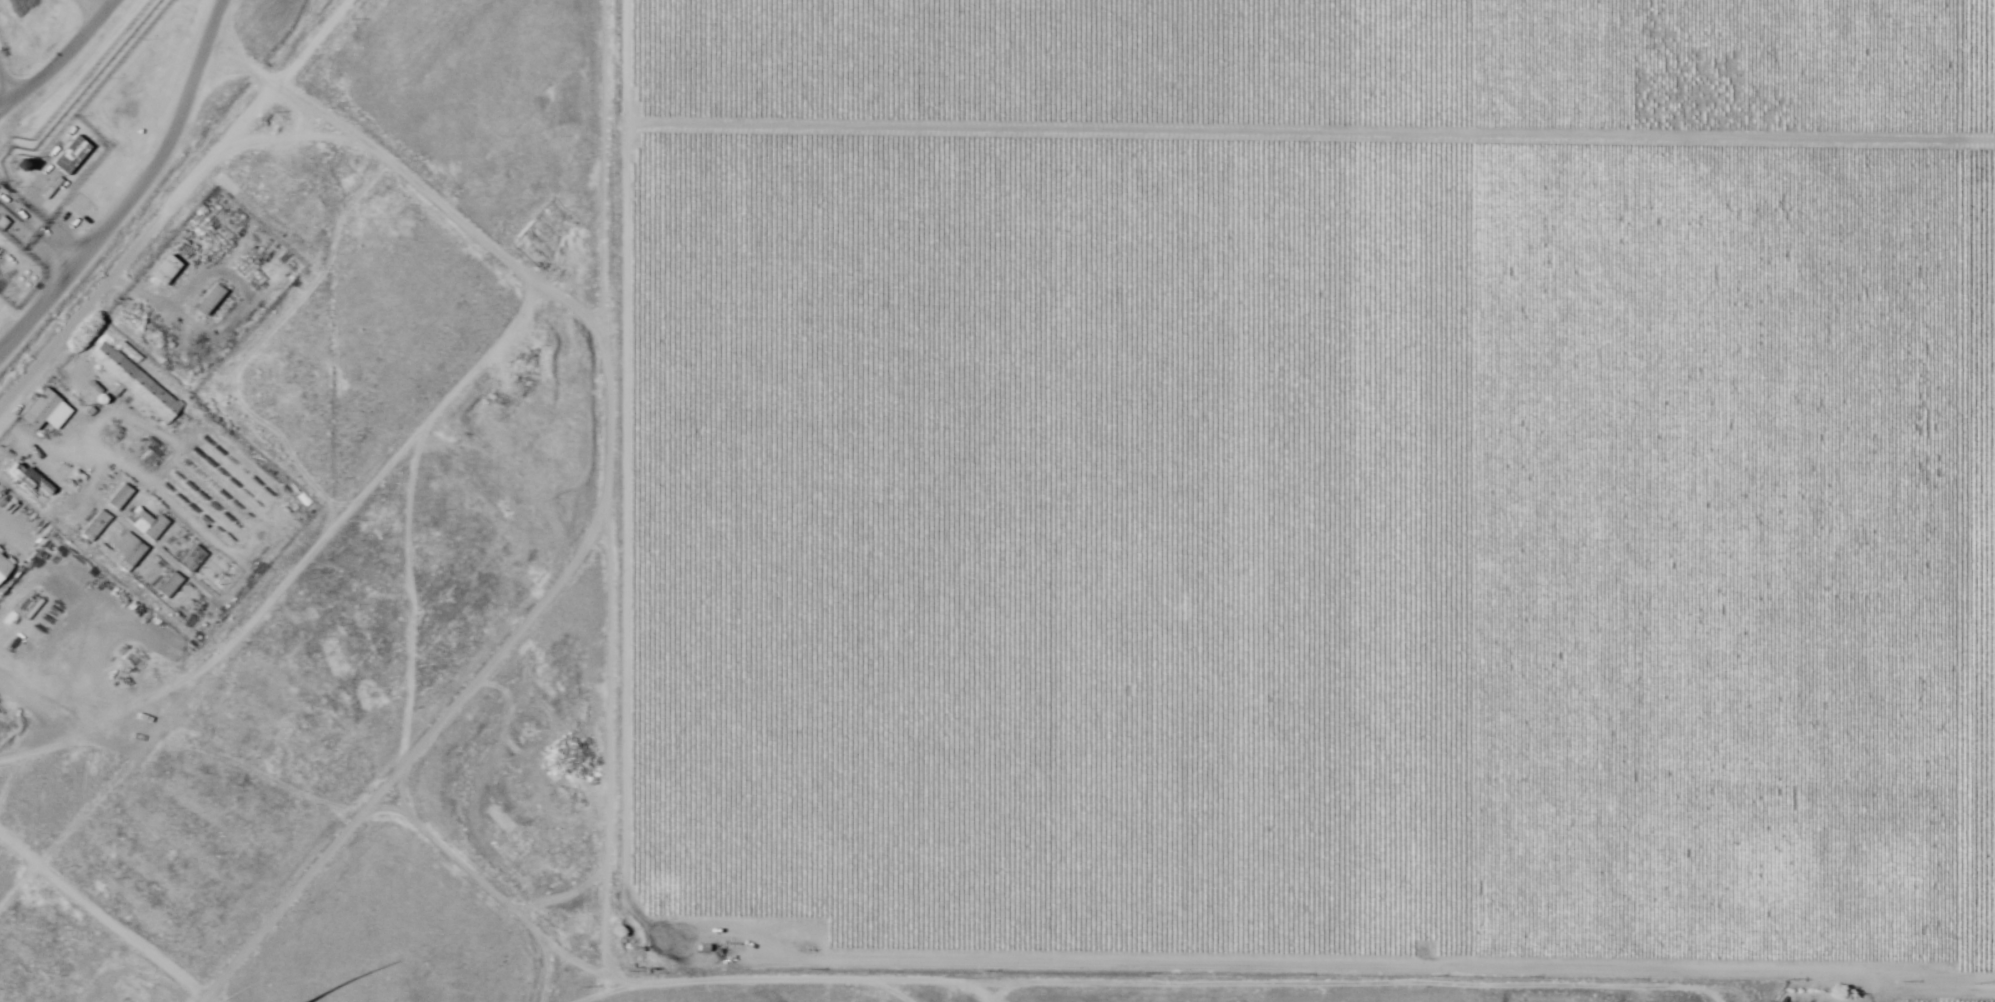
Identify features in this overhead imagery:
road: (1312, 130)
building: (69, 155)
building: (15, 166)
road: (135, 190)
building: (164, 271)
building: (215, 303)
building: (134, 382)
building: (44, 411)
building: (27, 478)
road: (605, 483)
crop: (1311, 487)
building: (146, 523)
building: (95, 525)
building: (128, 549)
building: (192, 559)
building: (4, 567)
building: (169, 585)
road: (403, 763)
building: (574, 793)
road: (849, 961)
road: (806, 979)
road: (1353, 984)
road: (1890, 992)

